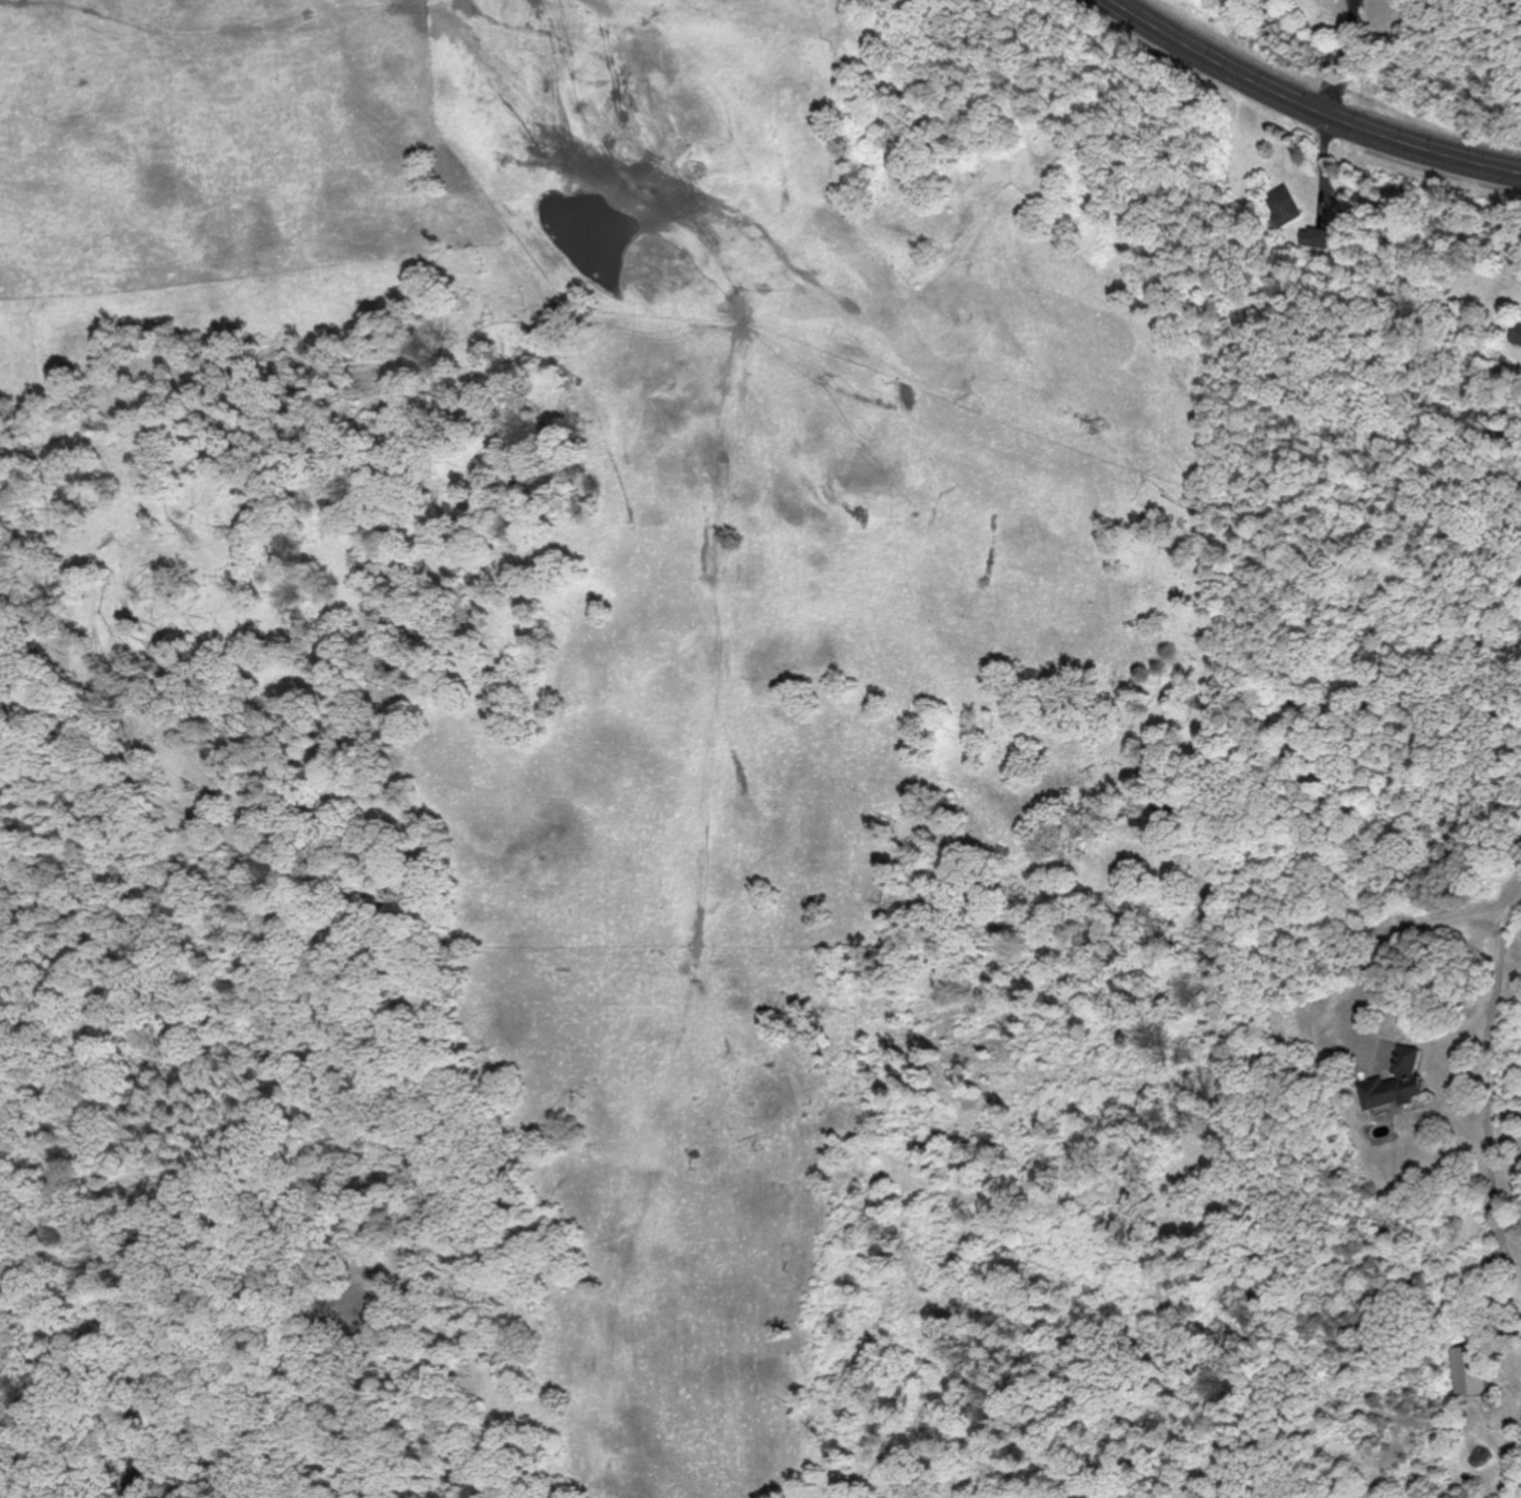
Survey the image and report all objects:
road: (1342, 56)
road: (1310, 105)
road: (1321, 166)
building: (1282, 204)
building: (1313, 236)
building: (1517, 331)
road: (1387, 941)
building: (1402, 1082)
road: (1487, 1091)
building: (1469, 1370)

